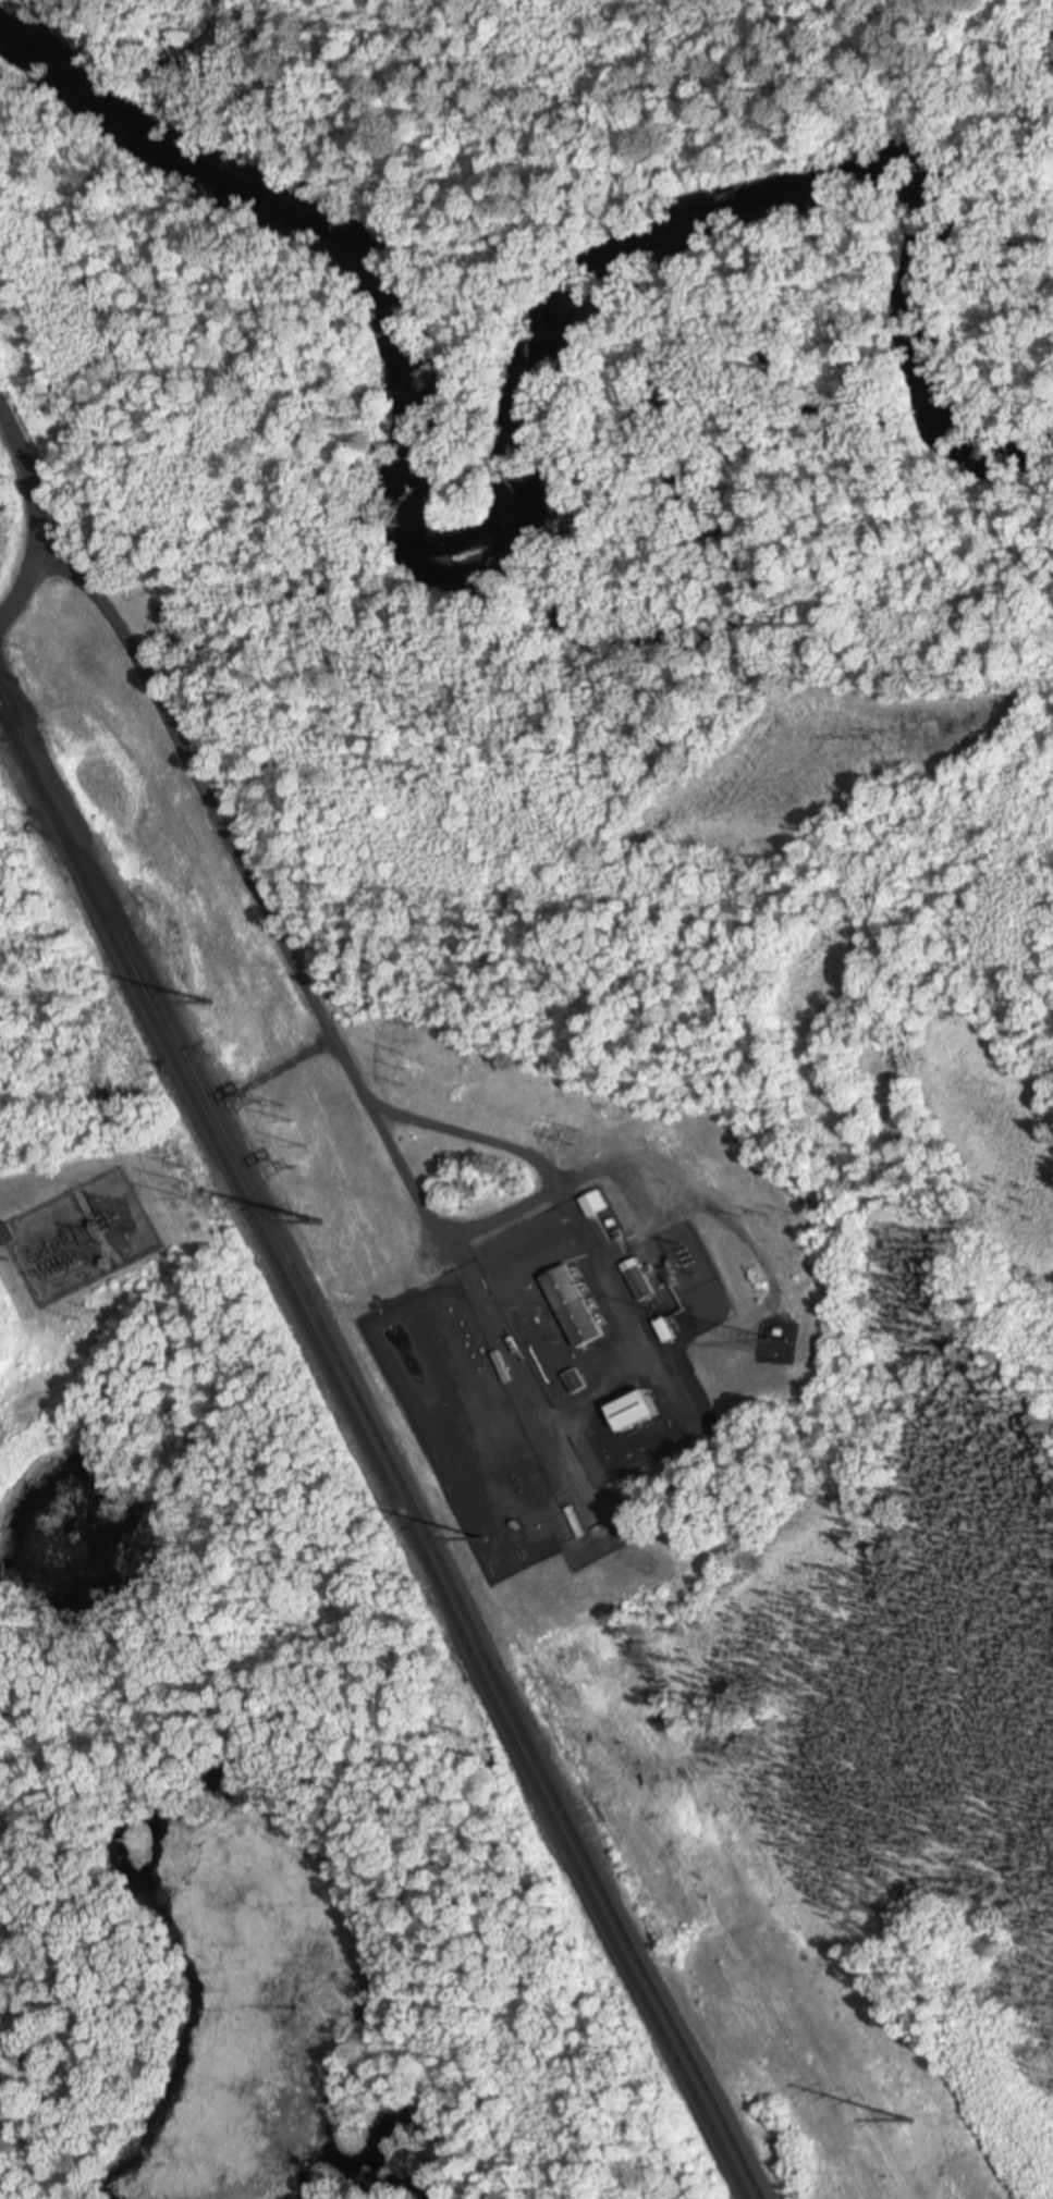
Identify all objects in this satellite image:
river: (532, 438)
road: (33, 516)
road: (286, 954)
power tower: (208, 1003)
power tower: (408, 1073)
power tower: (256, 1101)
power tower: (296, 1131)
power tower: (580, 1142)
power tower: (292, 1167)
power tower: (189, 1186)
building: (597, 1205)
power tower: (775, 1219)
power tower: (318, 1224)
building: (5, 1236)
power substation: (79, 1237)
power substation: (675, 1265)
building: (639, 1282)
building: (575, 1310)
building: (575, 1383)
building: (637, 1414)
railway: (370, 1455)
railway: (392, 1465)
power tower: (486, 1540)
power tower: (915, 2122)

